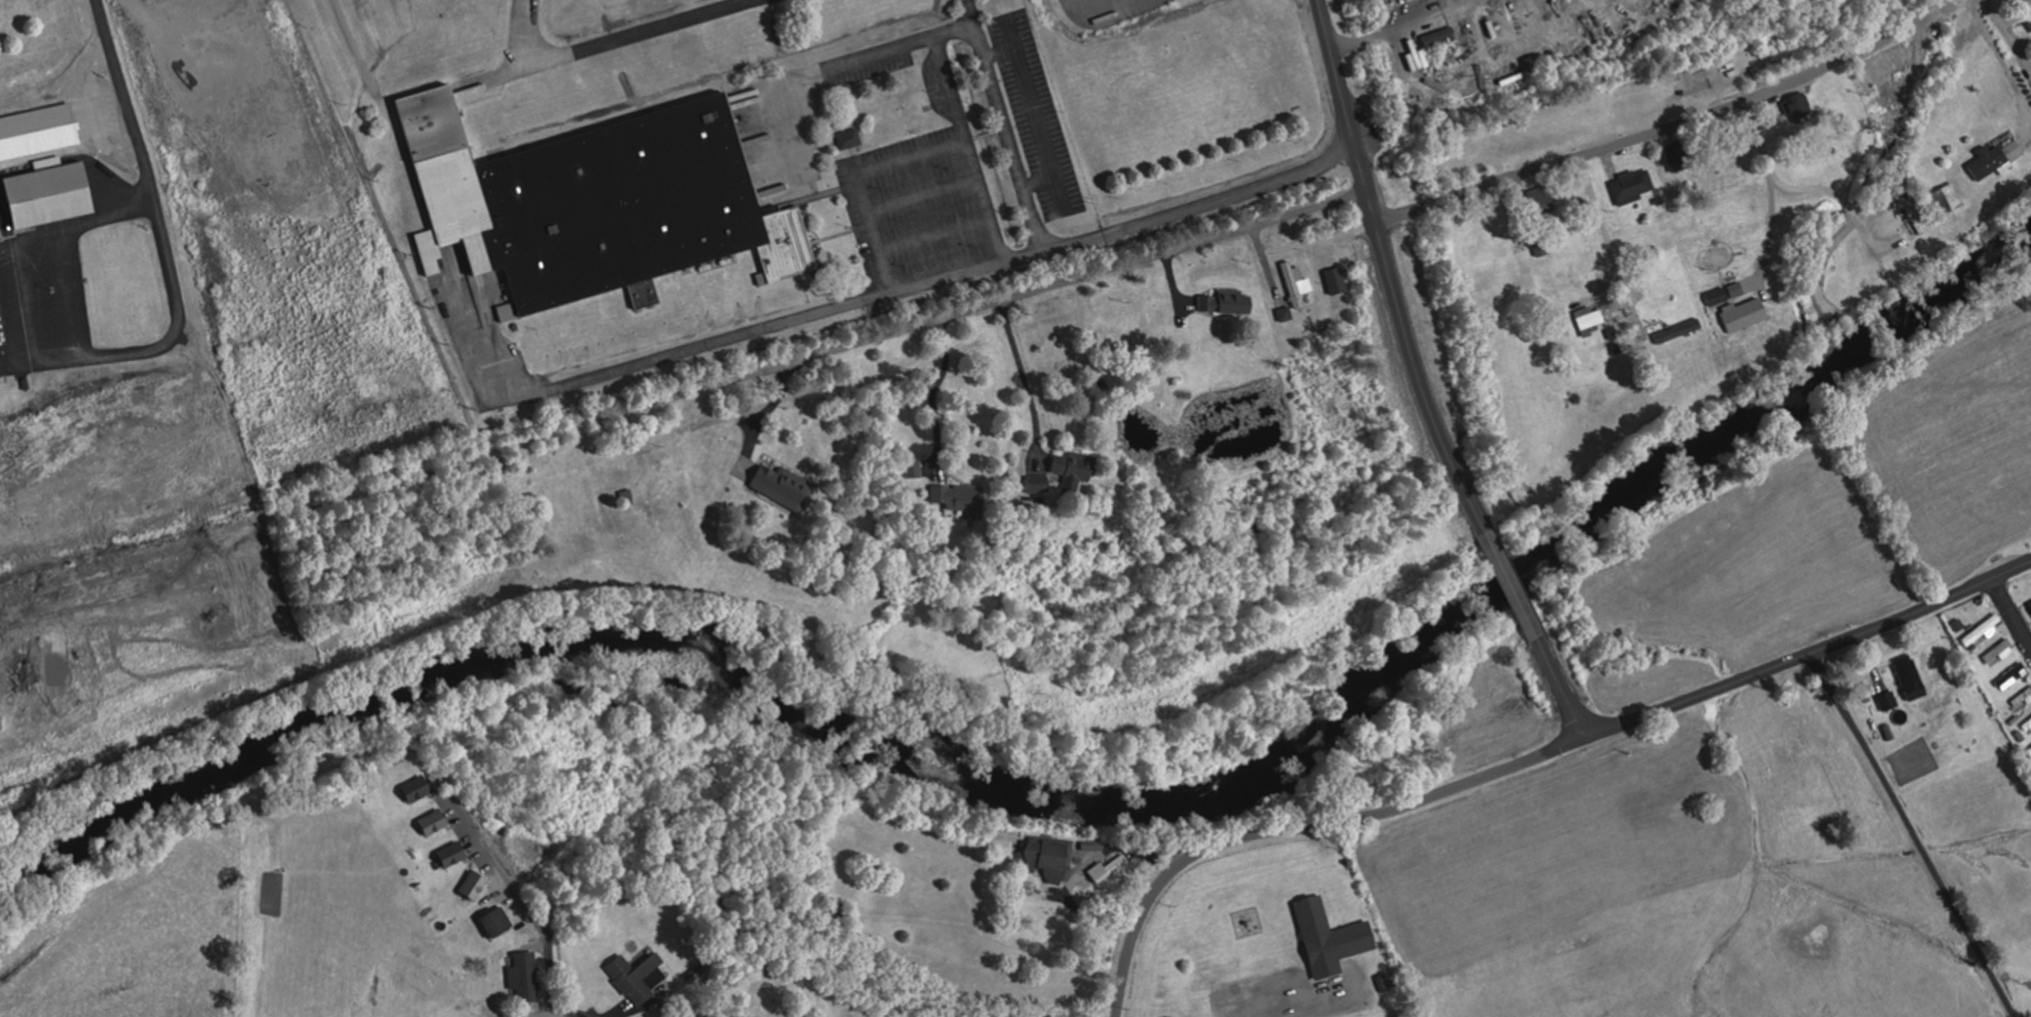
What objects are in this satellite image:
building: (1410, 0)
building: (2025, 6)
building: (1442, 38)
building: (1885, 69)
road: (126, 97)
building: (1799, 111)
road: (1673, 126)
building: (851, 139)
building: (1677, 159)
building: (1995, 159)
building: (1633, 186)
building: (49, 197)
building: (1947, 199)
building: (598, 203)
building: (1542, 203)
road: (1388, 269)
road: (923, 279)
building: (1296, 285)
building: (1735, 290)
building: (1717, 297)
building: (1226, 303)
building: (1744, 315)
building: (1589, 318)
building: (1676, 331)
building: (1641, 333)
building: (914, 467)
building: (1074, 469)
building: (1037, 483)
building: (783, 485)
building: (959, 500)
road: (1510, 585)
building: (2029, 602)
road: (2013, 611)
building: (1982, 630)
building: (1999, 653)
road: (1810, 654)
building: (1908, 671)
building: (2011, 676)
road: (1562, 689)
building: (2022, 699)
building: (1887, 700)
building: (2028, 726)
building: (415, 788)
river: (1051, 792)
road: (461, 795)
building: (432, 821)
road: (1302, 830)
road: (1916, 834)
building: (451, 854)
building: (1049, 858)
building: (1106, 870)
building: (473, 885)
building: (496, 922)
building: (1329, 938)
building: (525, 976)
building: (637, 976)
building: (1383, 982)

